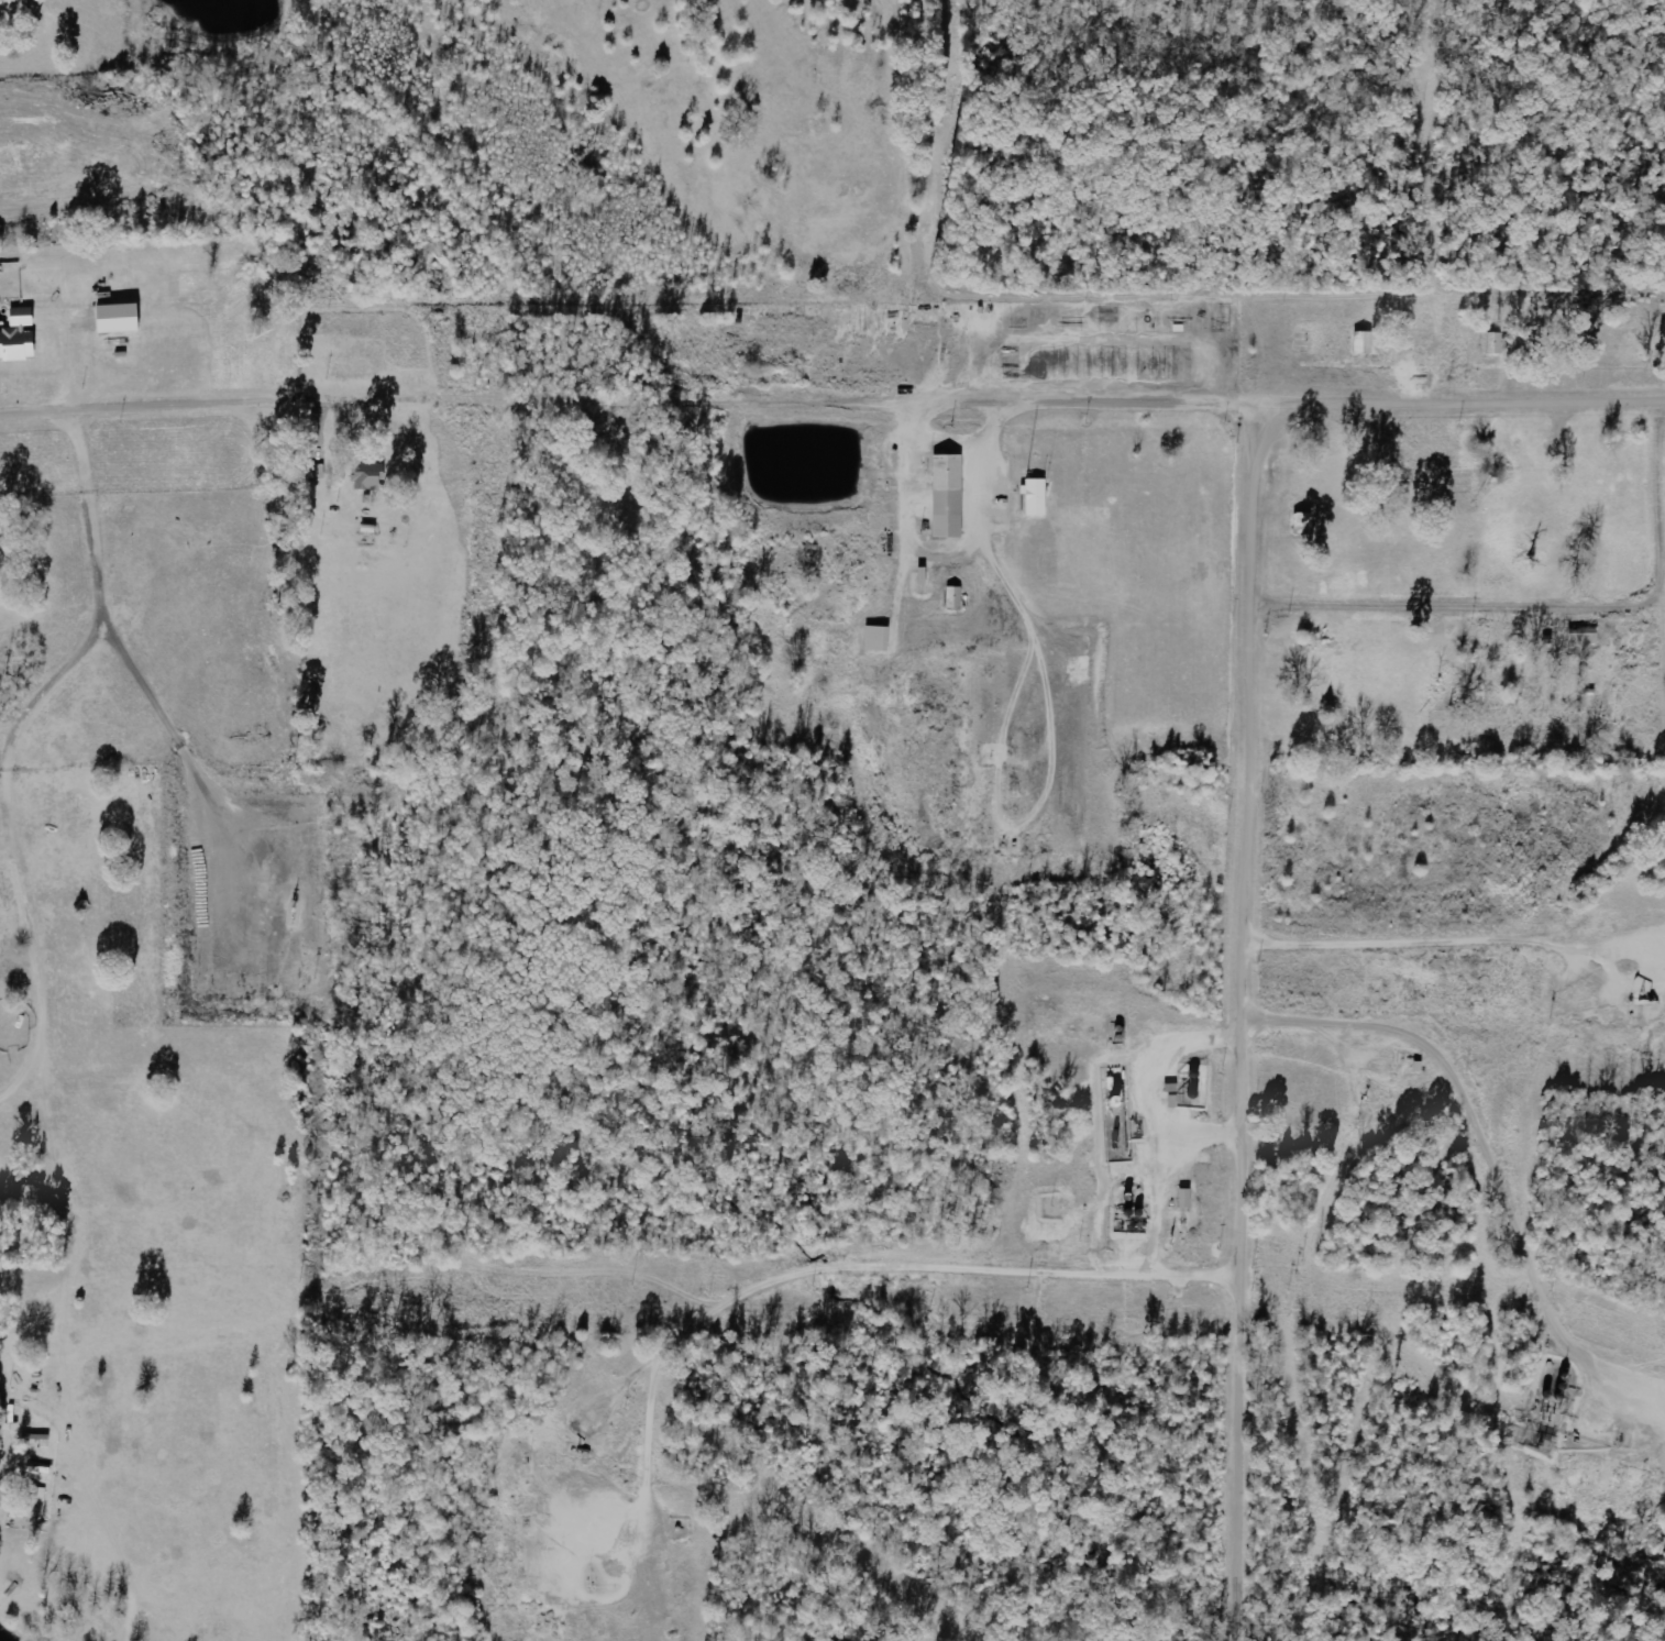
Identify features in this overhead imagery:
building: (121, 318)
building: (20, 337)
building: (1366, 342)
building: (1496, 343)
road: (970, 406)
road: (151, 407)
building: (370, 477)
building: (950, 496)
building: (1037, 497)
building: (1304, 520)
building: (957, 598)
road: (1462, 614)
building: (1585, 636)
building: (879, 639)
road: (1463, 773)
road: (1257, 836)
road: (1458, 958)
road: (900, 1295)

